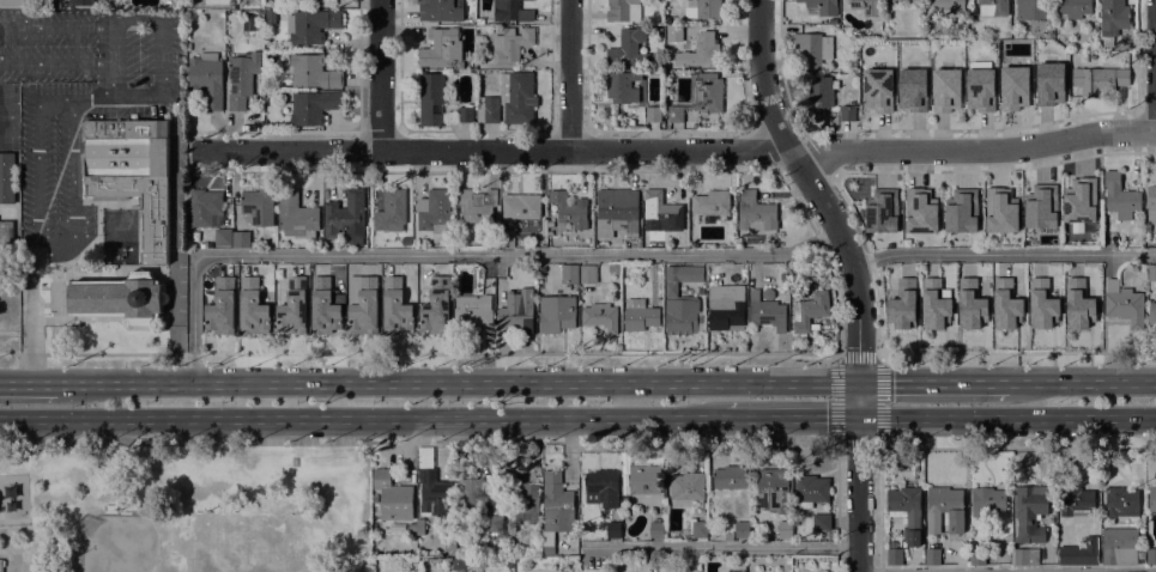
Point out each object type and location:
building: (16, 2)
building: (81, 2)
building: (658, 5)
building: (823, 6)
building: (864, 6)
building: (948, 7)
building: (989, 7)
building: (1073, 7)
building: (708, 8)
building: (441, 10)
building: (618, 10)
building: (1033, 10)
building: (512, 11)
building: (271, 17)
building: (667, 18)
building: (1113, 19)
building: (480, 20)
road: (109, 25)
building: (311, 25)
building: (673, 32)
building: (510, 45)
building: (441, 48)
building: (629, 49)
building: (811, 49)
building: (701, 51)
building: (853, 62)
road: (1155, 65)
building: (309, 72)
road: (569, 74)
road: (379, 75)
building: (207, 78)
building: (241, 79)
building: (1098, 80)
building: (1051, 81)
building: (623, 86)
building: (1015, 86)
building: (980, 87)
building: (913, 89)
building: (877, 90)
building: (946, 90)
building: (821, 91)
building: (700, 96)
building: (518, 97)
building: (431, 98)
building: (480, 104)
building: (310, 107)
building: (848, 112)
building: (491, 114)
building: (653, 114)
building: (466, 115)
road: (1, 122)
road: (975, 148)
road: (486, 150)
road: (38, 157)
building: (131, 174)
building: (7, 178)
road: (73, 188)
building: (1120, 196)
building: (710, 202)
building: (1081, 202)
building: (1151, 202)
building: (477, 206)
building: (258, 207)
building: (523, 207)
building: (1041, 207)
road: (175, 208)
building: (206, 208)
building: (619, 208)
building: (569, 209)
building: (1000, 209)
building: (434, 211)
building: (962, 211)
building: (391, 212)
building: (662, 212)
building: (920, 212)
building: (755, 213)
building: (882, 213)
building: (296, 215)
building: (346, 215)
building: (121, 221)
building: (525, 225)
building: (567, 226)
building: (1082, 226)
building: (1146, 227)
building: (6, 231)
building: (223, 237)
building: (240, 238)
building: (507, 238)
building: (406, 241)
building: (495, 242)
road: (1001, 252)
road: (456, 254)
building: (612, 268)
building: (795, 269)
building: (1151, 272)
building: (569, 273)
building: (588, 273)
building: (743, 274)
road: (853, 275)
building: (682, 276)
building: (521, 287)
building: (768, 293)
building: (119, 298)
building: (934, 303)
building: (970, 303)
building: (1006, 303)
building: (1042, 303)
building: (902, 304)
building: (1122, 304)
building: (222, 306)
building: (292, 306)
building: (395, 306)
building: (253, 308)
building: (325, 308)
building: (364, 308)
building: (436, 308)
building: (1079, 309)
building: (473, 310)
building: (726, 311)
building: (809, 311)
building: (557, 312)
building: (767, 312)
building: (1152, 312)
road: (31, 314)
building: (638, 315)
building: (516, 316)
building: (600, 316)
building: (683, 316)
road: (420, 352)
road: (1017, 353)
road: (840, 355)
road: (28, 382)
road: (456, 382)
traffic signals: (858, 382)
road: (932, 382)
road: (1081, 382)
road: (1006, 415)
road: (362, 416)
road: (791, 416)
traffic signals: (858, 416)
road: (193, 440)
road: (1018, 446)
building: (730, 477)
building: (644, 479)
building: (601, 480)
building: (774, 483)
building: (688, 486)
building: (810, 489)
building: (435, 493)
building: (471, 495)
building: (393, 497)
building: (522, 497)
building: (1152, 499)
building: (987, 500)
building: (1077, 501)
building: (1121, 501)
building: (557, 504)
building: (904, 504)
park: (184, 509)
building: (944, 509)
building: (1033, 512)
building: (822, 522)
building: (418, 525)
building: (495, 525)
building: (613, 529)
building: (656, 529)
building: (700, 529)
building: (742, 529)
building: (785, 529)
building: (1060, 530)
building: (728, 536)
building: (913, 538)
building: (450, 544)
road: (769, 546)
building: (1121, 547)
building: (1081, 552)
building: (978, 553)
building: (894, 554)
building: (1150, 555)
building: (932, 556)
building: (1027, 556)
building: (460, 562)
building: (509, 562)
building: (1, 565)
building: (460, 570)
building: (737, 571)

